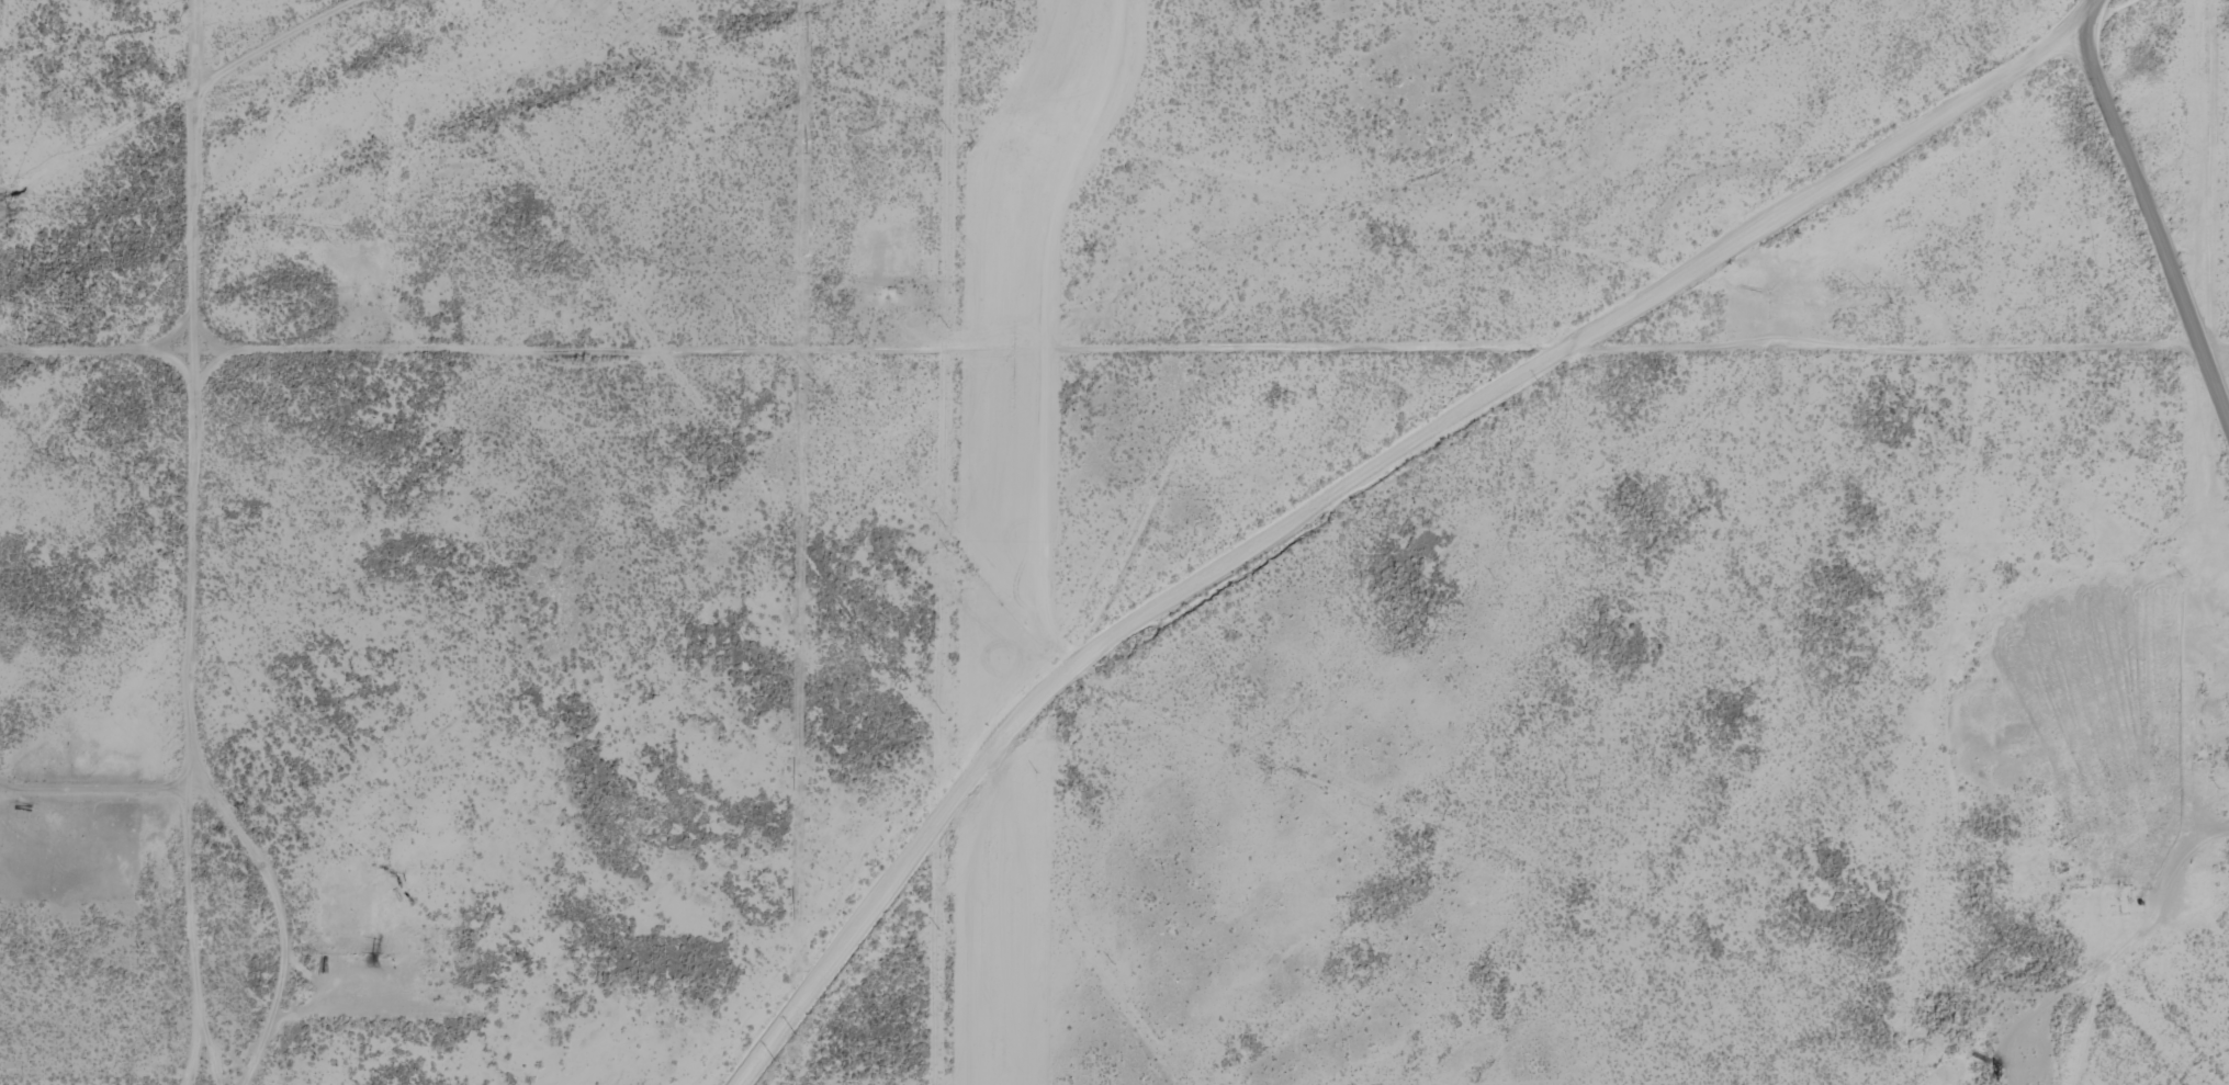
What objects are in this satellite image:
road: (2139, 279)
road: (1092, 353)
road: (198, 380)
road: (1369, 468)
road: (104, 788)
road: (191, 789)
road: (282, 915)
road: (195, 938)
road: (213, 1049)

